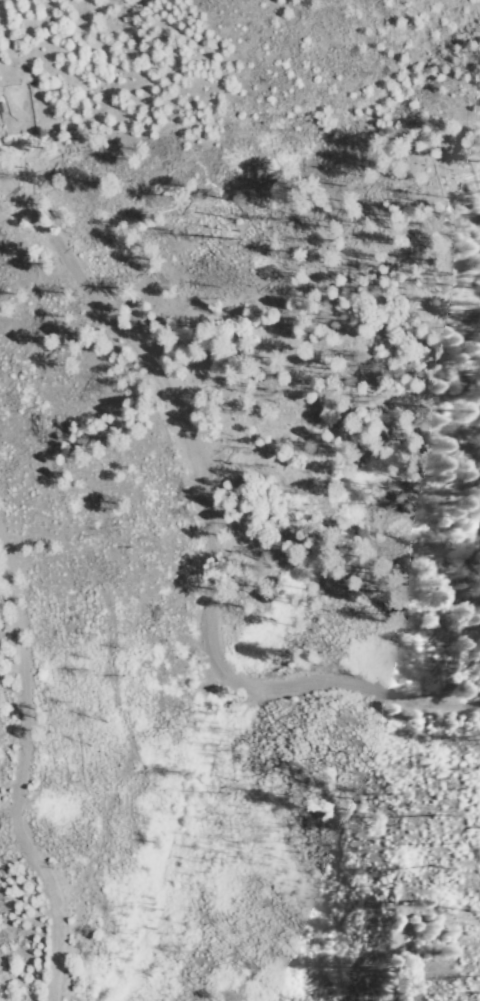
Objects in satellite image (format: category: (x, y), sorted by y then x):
building: (4, 112)
road: (240, 343)
road: (200, 539)
road: (27, 765)

